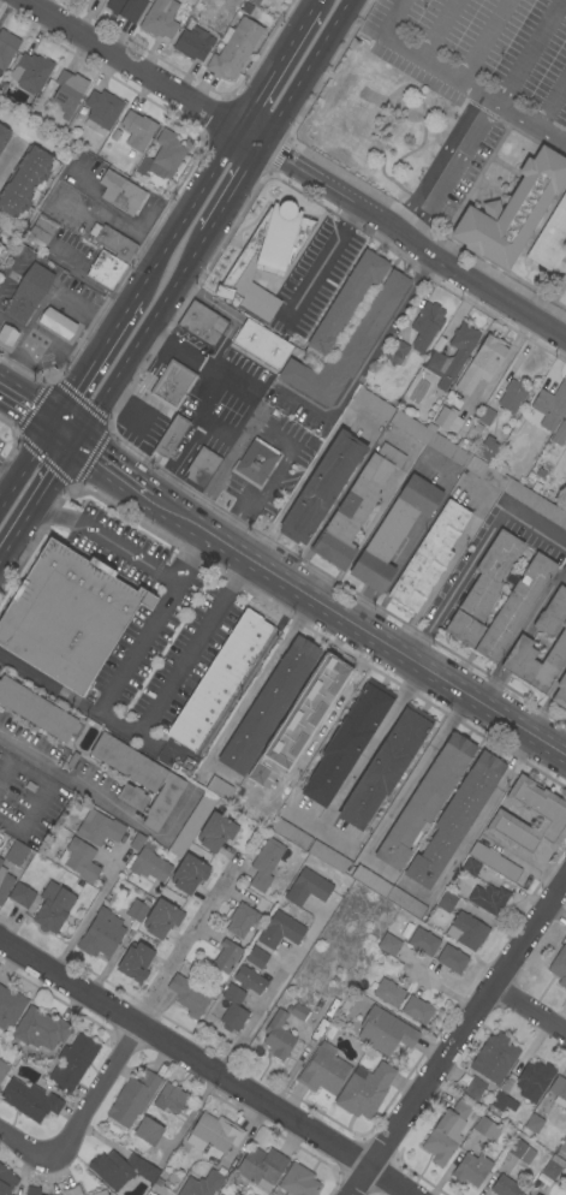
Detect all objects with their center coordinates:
road: (312, 4)
building: (126, 8)
building: (160, 18)
road: (304, 18)
road: (431, 28)
road: (482, 41)
building: (192, 43)
building: (6, 47)
building: (234, 48)
road: (526, 50)
road: (424, 60)
building: (30, 71)
road: (142, 73)
road: (308, 73)
parking lot: (472, 73)
road: (266, 79)
building: (67, 91)
road: (549, 97)
building: (101, 109)
road: (530, 123)
building: (137, 130)
building: (4, 136)
building: (166, 155)
road: (7, 159)
road: (452, 171)
building: (25, 182)
road: (236, 191)
building: (120, 192)
road: (193, 196)
building: (512, 210)
building: (41, 231)
building: (550, 238)
building: (113, 242)
road: (415, 242)
building: (0, 245)
building: (268, 245)
building: (1, 248)
road: (323, 256)
building: (107, 269)
road: (143, 279)
building: (28, 293)
road: (62, 298)
building: (375, 316)
building: (58, 322)
building: (202, 323)
building: (425, 325)
road: (107, 332)
building: (7, 334)
road: (143, 340)
road: (42, 343)
building: (261, 344)
building: (397, 351)
building: (435, 356)
building: (482, 363)
building: (172, 384)
building: (513, 396)
road: (67, 398)
building: (373, 404)
building: (550, 405)
road: (25, 406)
building: (565, 414)
building: (485, 415)
building: (447, 418)
road: (260, 423)
traffic signals: (50, 426)
building: (559, 433)
building: (171, 435)
road: (65, 436)
road: (187, 444)
traffic signals: (79, 447)
building: (487, 448)
road: (32, 452)
building: (255, 462)
building: (201, 466)
building: (479, 466)
road: (219, 468)
road: (114, 471)
road: (7, 472)
road: (58, 478)
building: (565, 483)
road: (234, 484)
building: (322, 486)
road: (7, 489)
building: (355, 507)
road: (281, 510)
building: (393, 531)
road: (18, 539)
building: (428, 558)
road: (192, 559)
building: (490, 573)
road: (452, 581)
building: (514, 606)
building: (68, 614)
road: (357, 626)
building: (464, 629)
building: (523, 638)
building: (219, 679)
road: (117, 680)
road: (50, 686)
building: (560, 691)
building: (326, 692)
road: (248, 694)
building: (310, 694)
building: (268, 704)
building: (38, 709)
building: (315, 721)
building: (347, 742)
road: (562, 745)
road: (370, 748)
road: (19, 753)
building: (386, 766)
road: (415, 775)
building: (139, 779)
building: (220, 787)
building: (424, 799)
building: (174, 808)
road: (479, 816)
building: (548, 818)
building: (455, 819)
building: (192, 824)
building: (99, 828)
building: (215, 831)
building: (290, 833)
road: (333, 839)
building: (137, 842)
building: (16, 852)
building: (327, 856)
building: (79, 860)
building: (1, 861)
building: (495, 861)
building: (149, 863)
building: (264, 863)
road: (376, 866)
building: (471, 867)
building: (189, 873)
building: (370, 880)
building: (5, 882)
building: (308, 887)
road: (416, 891)
building: (20, 894)
building: (488, 898)
building: (447, 900)
building: (406, 903)
building: (53, 908)
building: (137, 909)
road: (91, 910)
building: (161, 917)
building: (242, 920)
building: (280, 929)
building: (466, 931)
building: (101, 933)
building: (423, 941)
building: (389, 944)
road: (190, 946)
building: (226, 956)
building: (256, 957)
building: (452, 958)
building: (136, 961)
building: (559, 965)
building: (250, 980)
road: (278, 986)
building: (388, 992)
building: (189, 995)
road: (532, 1001)
building: (10, 1006)
building: (233, 1009)
building: (417, 1009)
building: (297, 1011)
building: (40, 1028)
building: (385, 1030)
building: (278, 1036)
road: (458, 1038)
building: (494, 1058)
building: (73, 1062)
road: (204, 1068)
building: (2, 1069)
building: (323, 1070)
building: (534, 1080)
building: (505, 1086)
building: (365, 1088)
building: (473, 1088)
building: (559, 1090)
building: (132, 1098)
building: (169, 1098)
building: (29, 1099)
building: (499, 1100)
road: (77, 1116)
building: (534, 1123)
building: (482, 1125)
building: (148, 1131)
building: (214, 1132)
building: (443, 1134)
building: (562, 1148)
building: (520, 1151)
building: (261, 1166)
building: (553, 1167)
building: (120, 1169)
building: (471, 1169)
building: (6, 1181)
building: (298, 1181)
building: (202, 1184)
building: (506, 1187)
building: (32, 1190)
building: (71, 1190)
building: (100, 1193)
building: (535, 1194)
building: (537, 1194)

